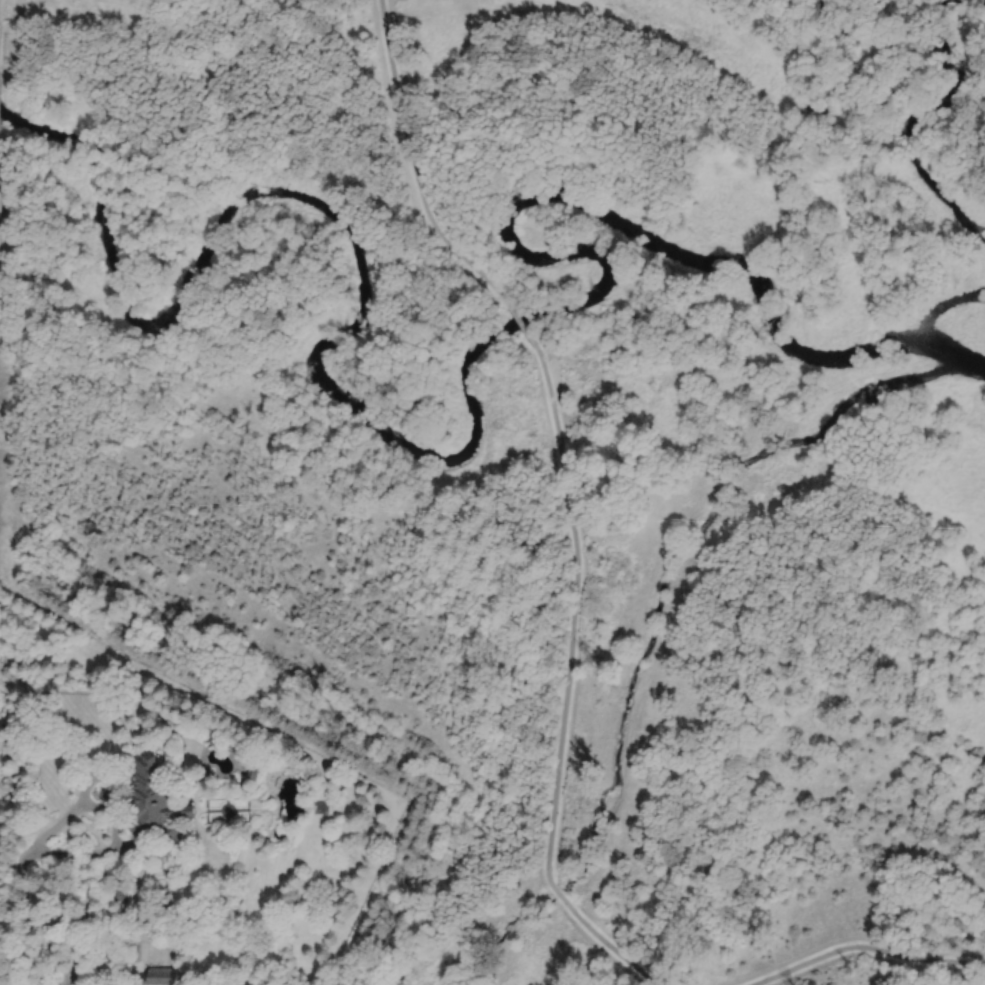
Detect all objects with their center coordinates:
road: (413, 166)
road: (522, 325)
road: (280, 466)
road: (574, 606)
building: (253, 768)
road: (86, 783)
building: (154, 802)
road: (798, 807)
road: (115, 826)
road: (54, 827)
road: (16, 872)
building: (119, 892)
road: (556, 893)
road: (616, 913)
road: (167, 914)
road: (646, 936)
road: (865, 947)
road: (614, 950)
road: (877, 967)
road: (929, 973)
building: (161, 976)

